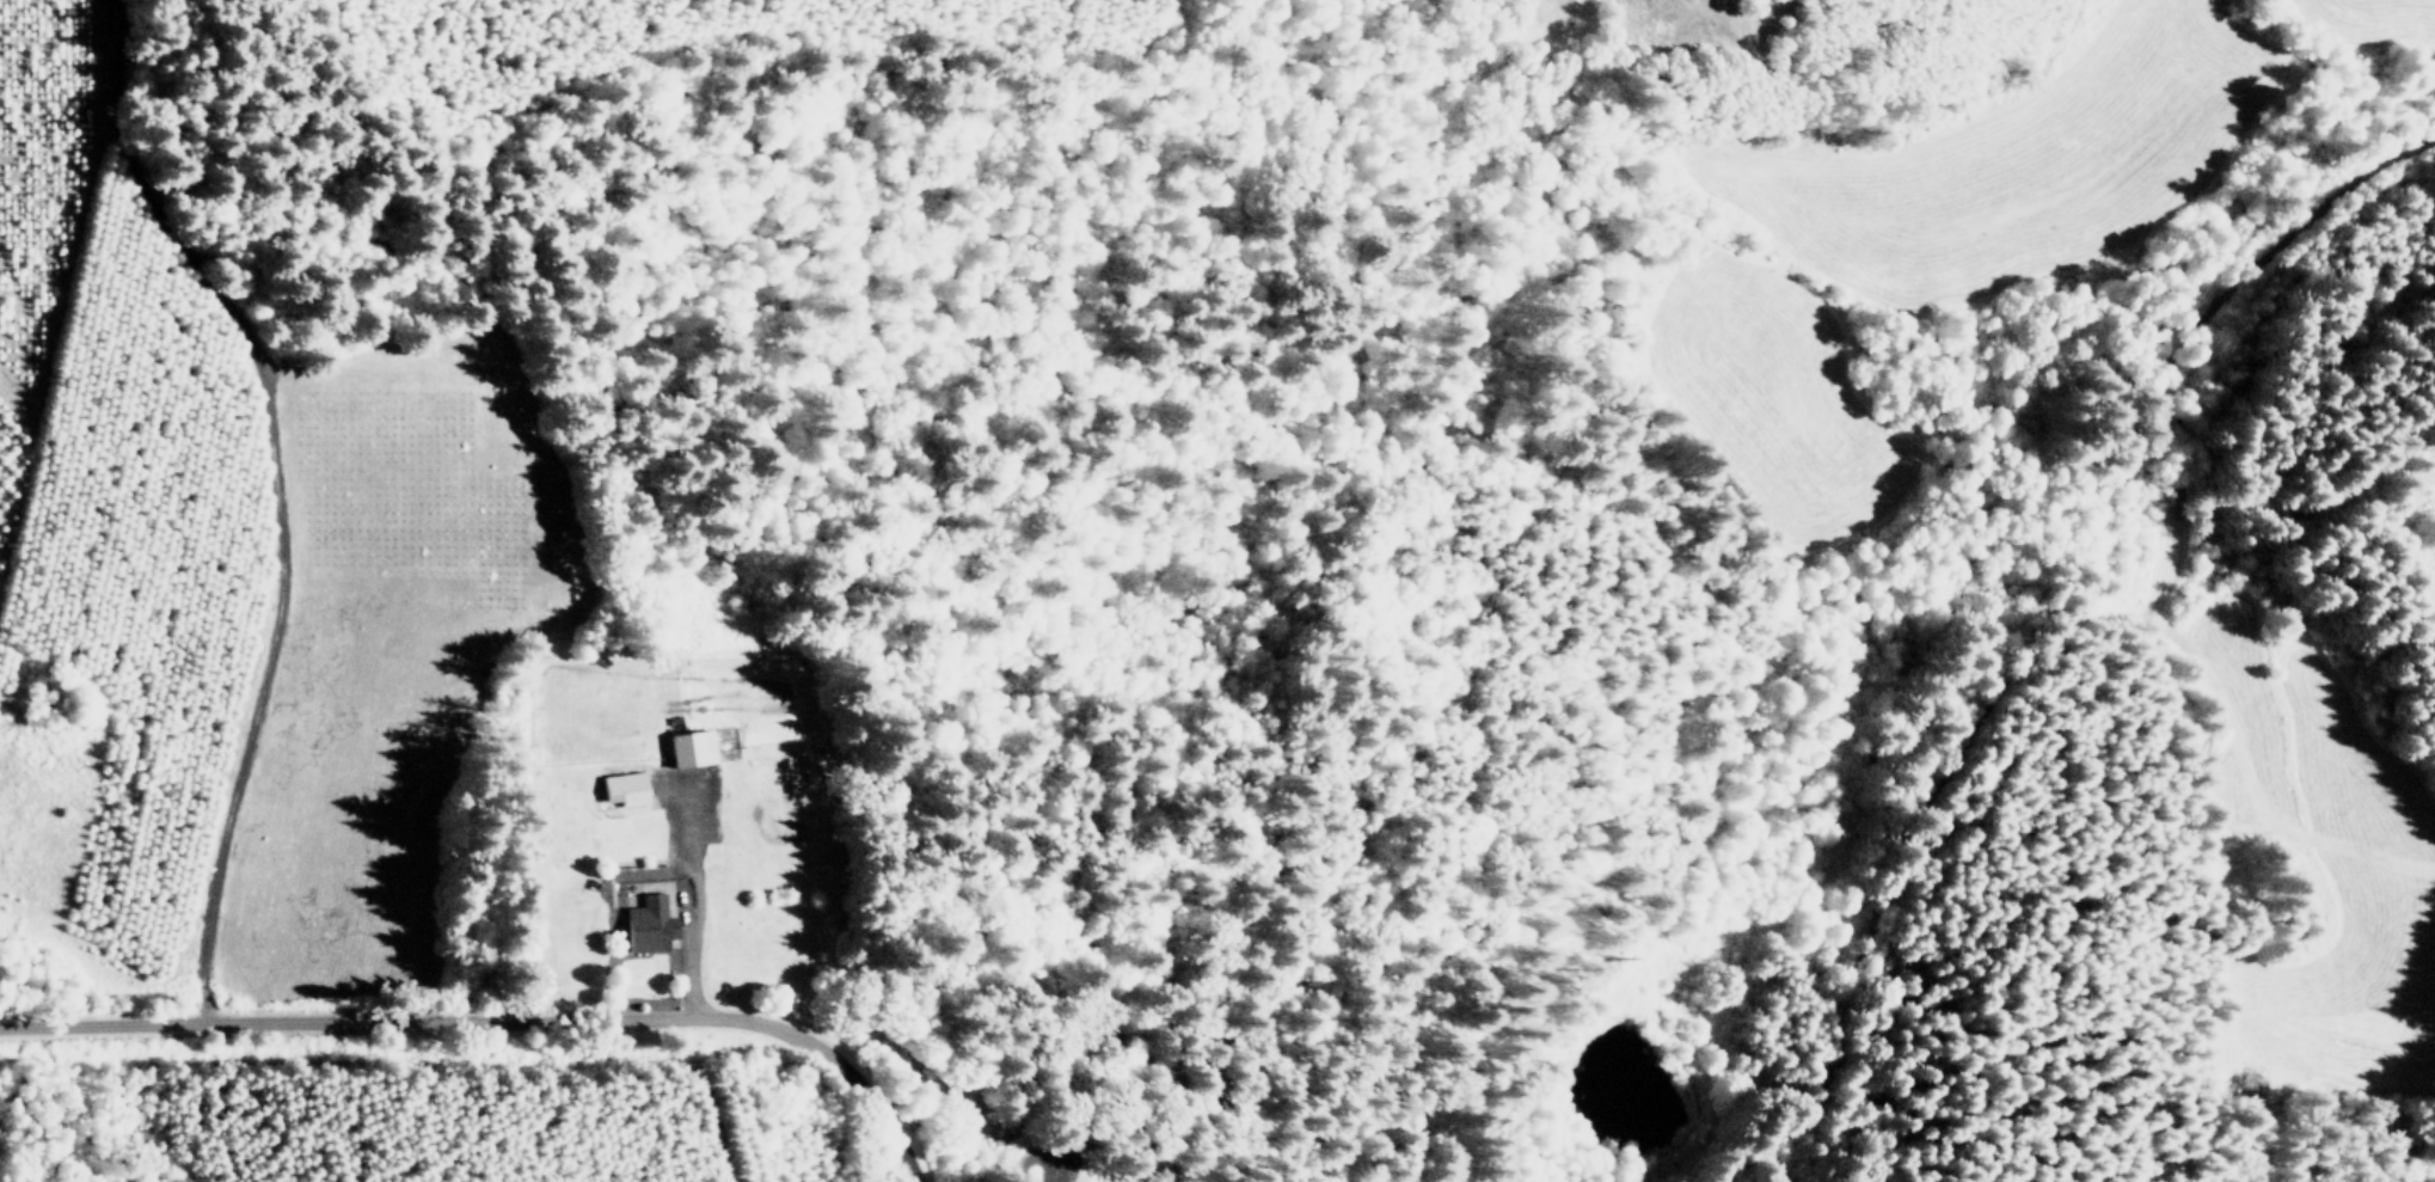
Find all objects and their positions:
road: (287, 497)
road: (894, 570)
building: (693, 746)
building: (626, 786)
road: (689, 893)
building: (651, 923)
road: (476, 1017)
road: (909, 1163)

